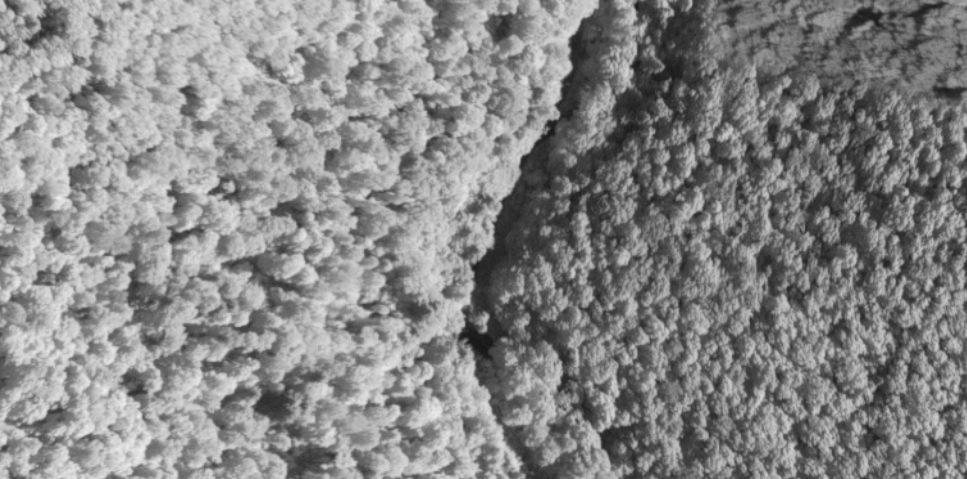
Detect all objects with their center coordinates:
road: (441, 244)

